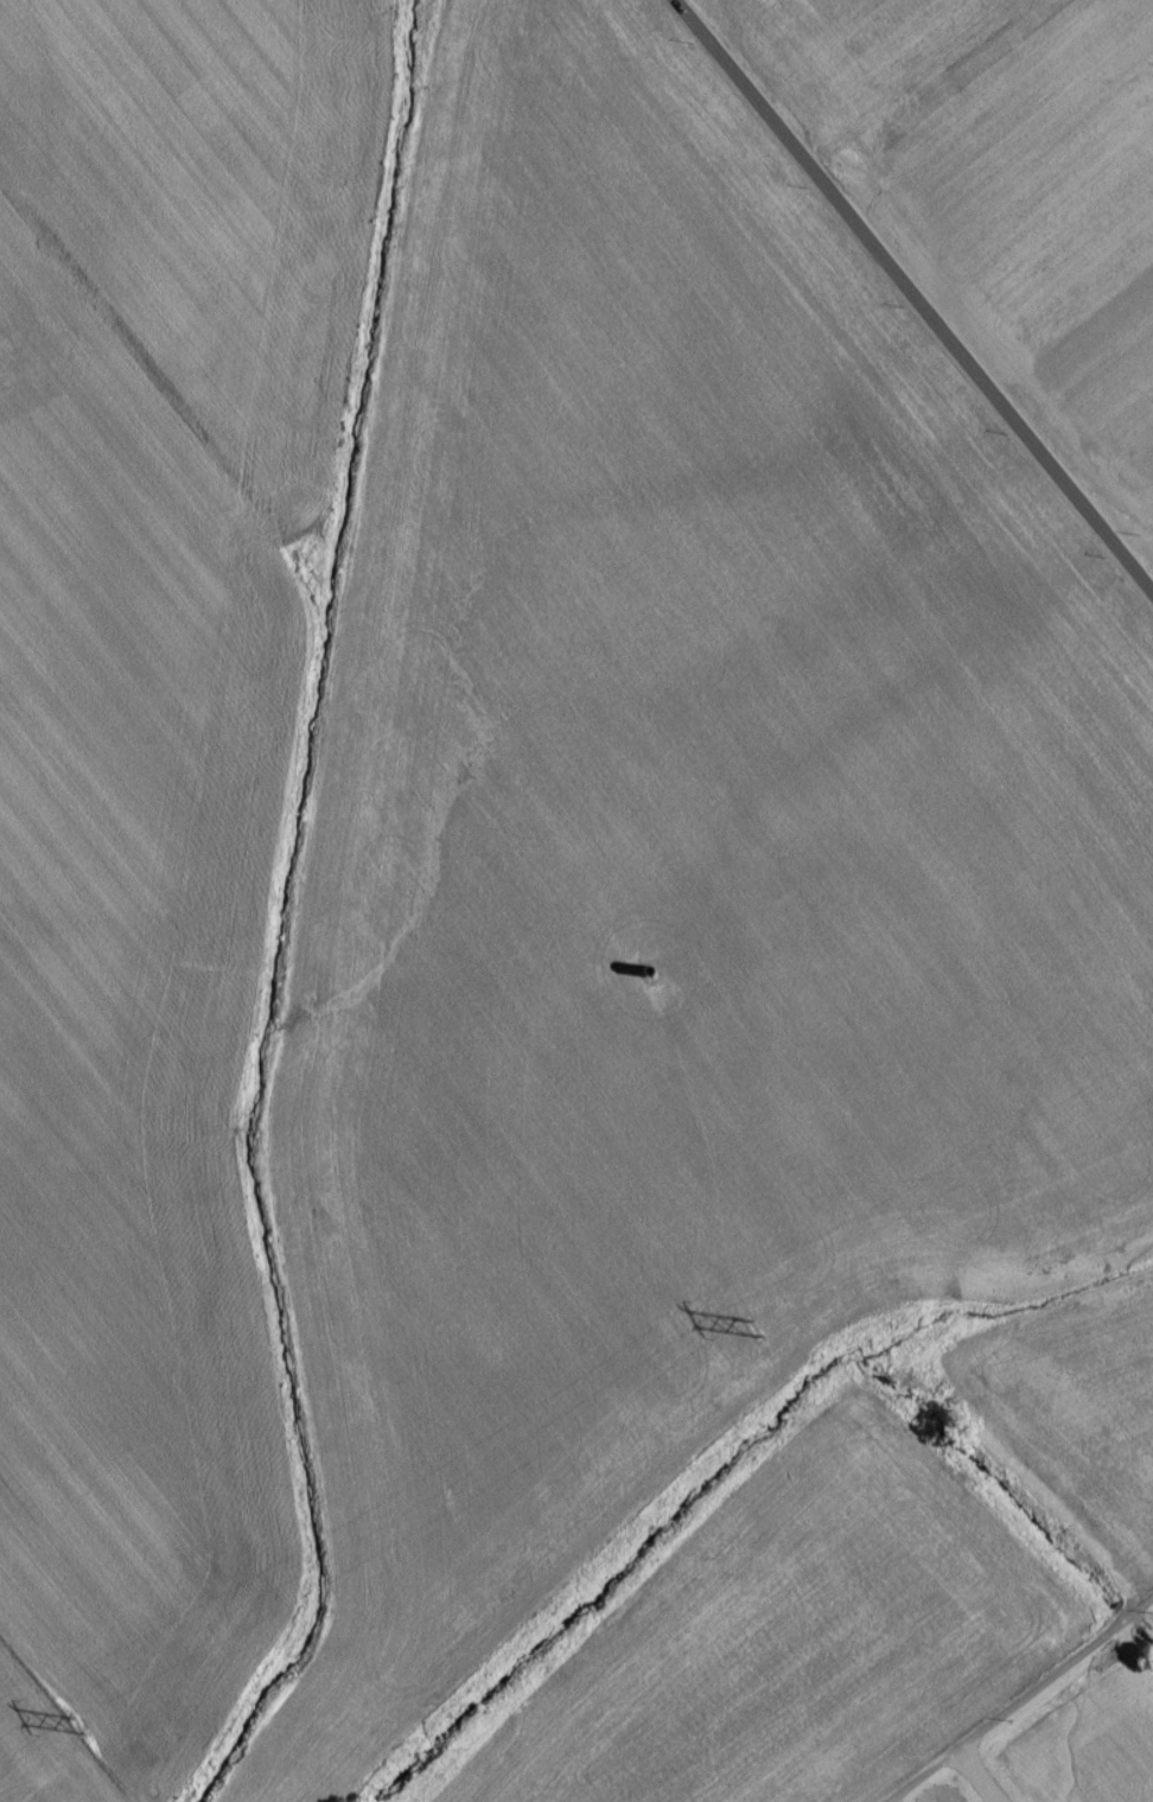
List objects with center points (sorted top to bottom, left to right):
road: (910, 299)
power tower: (756, 1336)
road: (1013, 1690)
power tower: (78, 1733)
road: (977, 1770)
road: (875, 1801)

